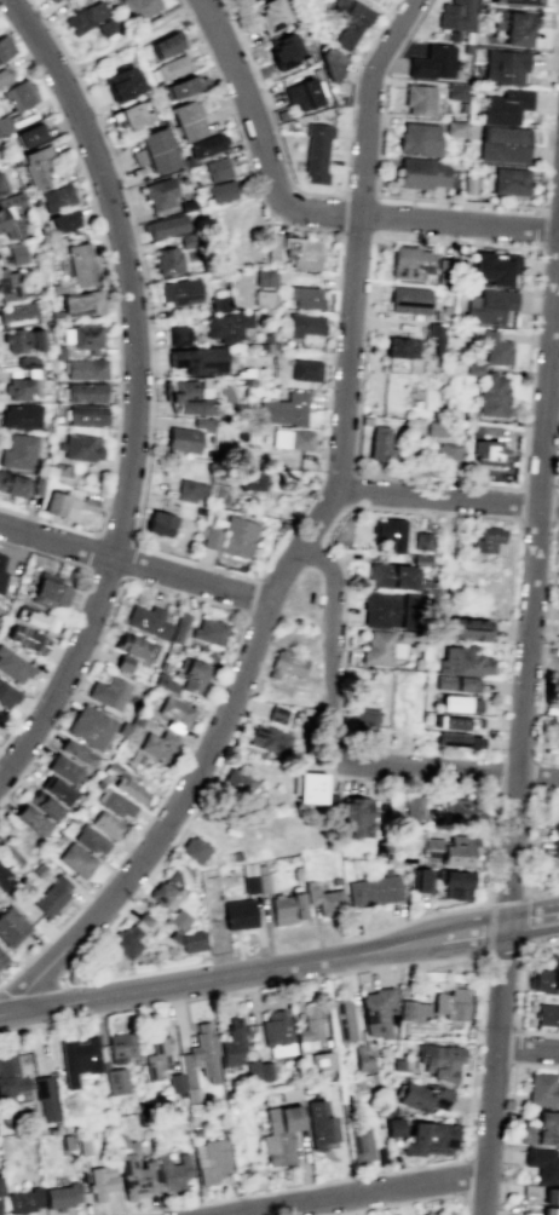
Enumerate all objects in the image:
building: (51, 0)
building: (53, 0)
road: (394, 0)
building: (517, 2)
road: (180, 5)
road: (221, 6)
building: (140, 10)
building: (267, 15)
building: (455, 15)
building: (85, 16)
building: (347, 21)
building: (105, 27)
building: (514, 27)
road: (48, 30)
building: (451, 35)
building: (467, 38)
road: (128, 41)
building: (4, 45)
building: (166, 45)
building: (466, 48)
building: (282, 50)
building: (432, 62)
building: (330, 64)
building: (503, 65)
building: (168, 68)
building: (5, 73)
building: (121, 84)
building: (179, 87)
building: (455, 91)
building: (19, 93)
building: (301, 94)
building: (419, 99)
building: (505, 105)
building: (461, 106)
building: (133, 115)
building: (281, 115)
building: (185, 120)
building: (4, 125)
building: (454, 128)
building: (29, 133)
building: (417, 138)
building: (502, 144)
building: (203, 145)
building: (155, 150)
building: (316, 151)
building: (35, 166)
building: (217, 168)
building: (420, 173)
building: (509, 180)
building: (1, 185)
building: (220, 191)
building: (157, 192)
road: (318, 194)
building: (56, 196)
road: (456, 201)
building: (185, 205)
road: (309, 213)
road: (341, 213)
building: (10, 214)
road: (373, 214)
building: (62, 220)
building: (165, 226)
road: (307, 228)
road: (537, 229)
building: (188, 240)
building: (293, 249)
building: (16, 252)
building: (167, 260)
building: (410, 263)
building: (80, 264)
road: (106, 264)
building: (492, 267)
building: (444, 271)
building: (264, 276)
building: (8, 283)
building: (54, 287)
building: (178, 292)
building: (261, 296)
building: (304, 296)
building: (408, 299)
building: (81, 301)
building: (218, 303)
building: (489, 306)
building: (17, 313)
building: (54, 316)
building: (304, 324)
building: (226, 326)
building: (179, 335)
building: (436, 335)
building: (82, 336)
building: (22, 339)
building: (491, 345)
road: (528, 349)
building: (58, 352)
building: (400, 355)
building: (197, 359)
road: (149, 361)
building: (25, 362)
building: (85, 368)
building: (473, 368)
building: (305, 369)
building: (21, 387)
road: (345, 387)
road: (136, 391)
building: (85, 392)
road: (358, 396)
building: (491, 396)
building: (186, 397)
building: (284, 409)
building: (86, 414)
building: (21, 415)
building: (434, 427)
building: (186, 436)
building: (293, 438)
building: (379, 443)
building: (485, 445)
building: (80, 447)
building: (18, 451)
building: (444, 456)
building: (58, 468)
building: (250, 478)
building: (13, 484)
building: (36, 485)
building: (189, 490)
building: (218, 495)
road: (448, 499)
building: (65, 502)
road: (427, 511)
road: (16, 512)
road: (517, 520)
building: (159, 522)
building: (391, 532)
road: (98, 534)
building: (229, 537)
building: (486, 539)
building: (422, 541)
building: (420, 559)
road: (166, 571)
building: (1, 572)
building: (392, 576)
road: (531, 580)
building: (47, 589)
road: (248, 595)
building: (387, 609)
road: (70, 617)
building: (35, 618)
building: (148, 621)
building: (467, 629)
building: (179, 630)
building: (209, 630)
building: (25, 638)
road: (506, 638)
road: (544, 641)
building: (134, 646)
building: (378, 647)
building: (209, 656)
building: (462, 661)
building: (123, 662)
building: (286, 664)
building: (13, 666)
building: (194, 674)
building: (163, 683)
building: (456, 684)
building: (108, 692)
building: (7, 695)
building: (460, 703)
building: (174, 714)
building: (276, 714)
road: (58, 716)
building: (136, 720)
building: (364, 722)
building: (460, 722)
building: (90, 726)
building: (121, 729)
building: (267, 739)
building: (457, 739)
building: (157, 744)
building: (77, 752)
road: (517, 756)
building: (138, 758)
building: (64, 768)
road: (451, 768)
road: (494, 772)
road: (175, 775)
road: (532, 777)
building: (237, 783)
building: (310, 787)
building: (131, 789)
building: (57, 790)
building: (455, 801)
building: (114, 802)
building: (45, 805)
building: (413, 807)
building: (352, 816)
building: (31, 819)
building: (555, 823)
building: (106, 824)
road: (168, 824)
building: (90, 839)
building: (554, 847)
building: (196, 850)
building: (456, 850)
building: (11, 856)
building: (236, 856)
building: (75, 859)
road: (525, 860)
building: (38, 870)
building: (5, 879)
building: (421, 880)
building: (249, 883)
building: (263, 883)
building: (454, 885)
building: (166, 891)
building: (373, 891)
building: (51, 896)
road: (507, 898)
building: (324, 899)
road: (473, 904)
building: (287, 908)
road: (529, 911)
building: (240, 914)
building: (144, 919)
building: (179, 919)
road: (525, 921)
building: (11, 926)
road: (485, 927)
road: (531, 932)
road: (440, 939)
building: (188, 940)
building: (127, 942)
road: (503, 951)
building: (2, 958)
building: (546, 975)
road: (188, 981)
road: (81, 983)
road: (482, 985)
road: (519, 991)
building: (451, 1003)
building: (405, 1009)
building: (376, 1010)
building: (547, 1014)
building: (342, 1019)
building: (309, 1026)
building: (276, 1032)
building: (232, 1042)
building: (120, 1047)
road: (515, 1047)
road: (528, 1048)
building: (203, 1052)
building: (79, 1054)
building: (156, 1054)
building: (362, 1059)
building: (439, 1059)
building: (322, 1060)
road: (519, 1064)
building: (397, 1065)
building: (252, 1070)
building: (265, 1071)
road: (494, 1071)
building: (10, 1077)
building: (115, 1081)
building: (174, 1082)
building: (189, 1086)
building: (542, 1089)
building: (422, 1095)
building: (45, 1096)
building: (159, 1100)
building: (388, 1110)
building: (319, 1124)
building: (393, 1125)
building: (540, 1129)
building: (279, 1134)
building: (428, 1138)
building: (65, 1142)
building: (359, 1144)
building: (82, 1146)
building: (211, 1159)
building: (542, 1164)
building: (132, 1168)
building: (172, 1170)
building: (100, 1181)
building: (530, 1190)
road: (362, 1193)
building: (62, 1196)
building: (551, 1196)
building: (23, 1199)
road: (461, 1199)
road: (384, 1204)
building: (549, 1210)
building: (0, 1213)
building: (434, 1213)
building: (526, 1213)

